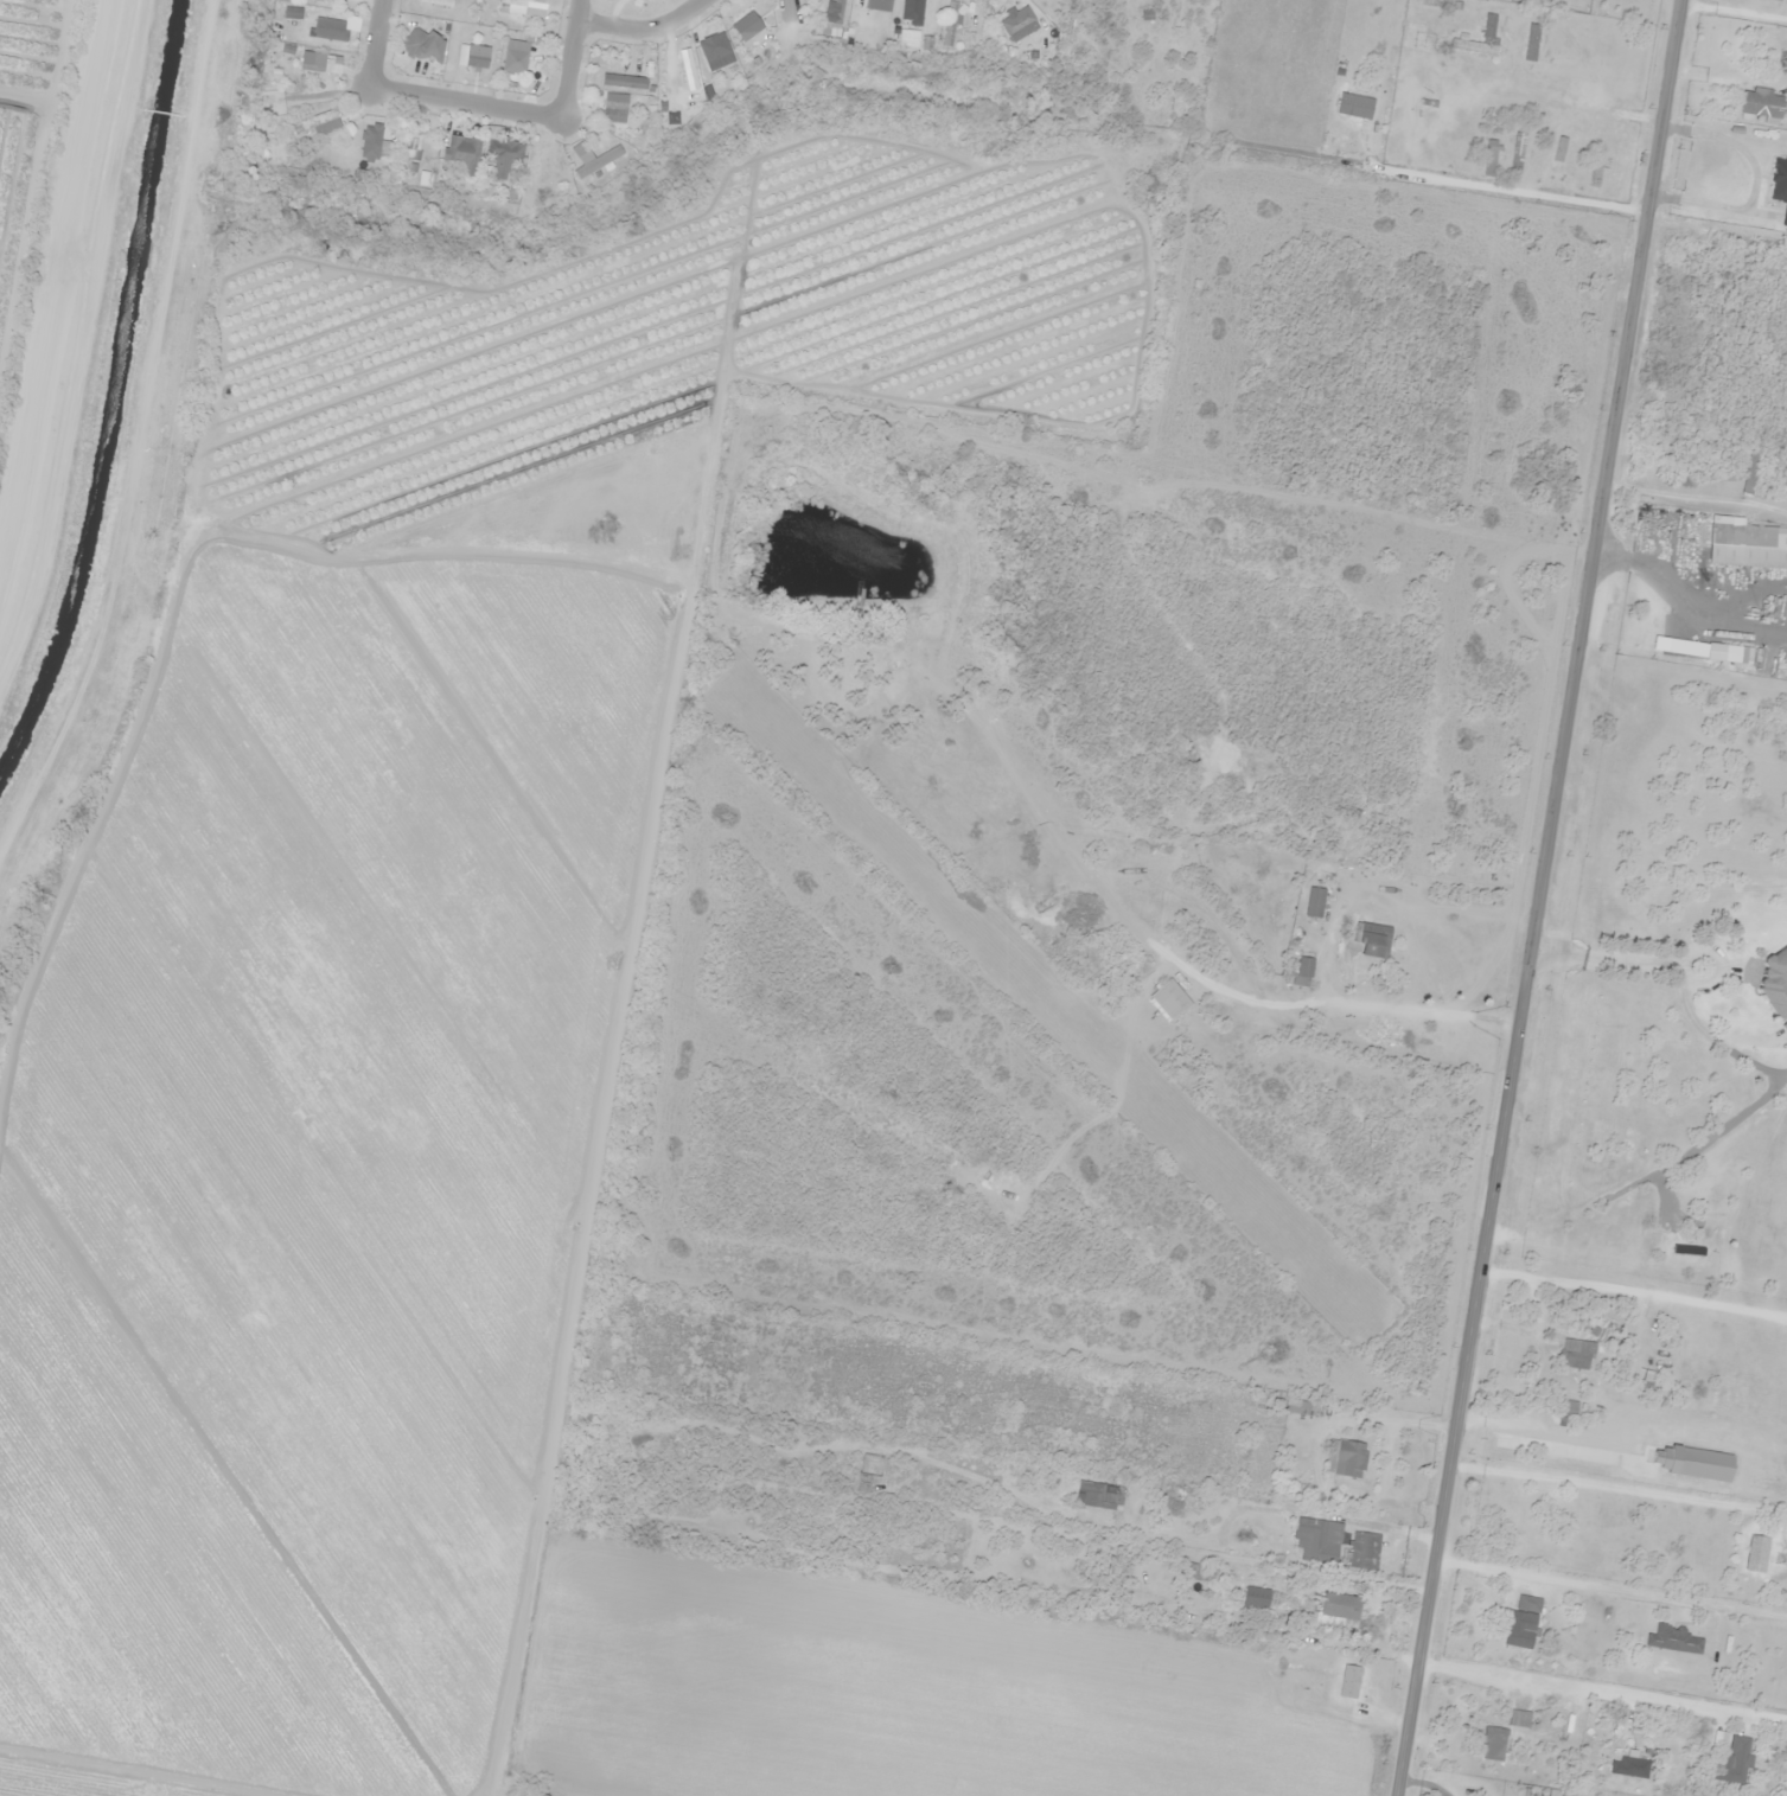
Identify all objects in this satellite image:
building: (530, 6)
road: (789, 8)
building: (295, 13)
building: (746, 26)
building: (330, 27)
road: (642, 27)
building: (1489, 33)
building: (1424, 40)
building: (1532, 40)
building: (421, 41)
road: (372, 44)
building: (516, 57)
road: (572, 58)
building: (325, 62)
building: (1783, 62)
building: (690, 73)
building: (625, 81)
road: (465, 102)
building: (614, 107)
building: (318, 123)
building: (371, 141)
building: (410, 146)
building: (462, 149)
building: (504, 153)
building: (594, 153)
building: (1491, 153)
building: (1518, 153)
building: (535, 167)
building: (1780, 180)
building: (1751, 473)
building: (1744, 535)
building: (1711, 651)
road: (1539, 897)
building: (1315, 902)
building: (1373, 940)
building: (1304, 972)
building: (1770, 983)
building: (1172, 1001)
building: (1782, 1029)
building: (1696, 1257)
building: (1577, 1353)
building: (1300, 1407)
building: (1566, 1407)
building: (1351, 1458)
building: (869, 1472)
building: (1100, 1494)
building: (1315, 1535)
building: (1365, 1551)
building: (1340, 1609)
building: (1523, 1622)
building: (1676, 1638)
building: (1328, 1686)
building: (1519, 1718)
building: (1494, 1743)
building: (1736, 1758)
building: (1629, 1766)

